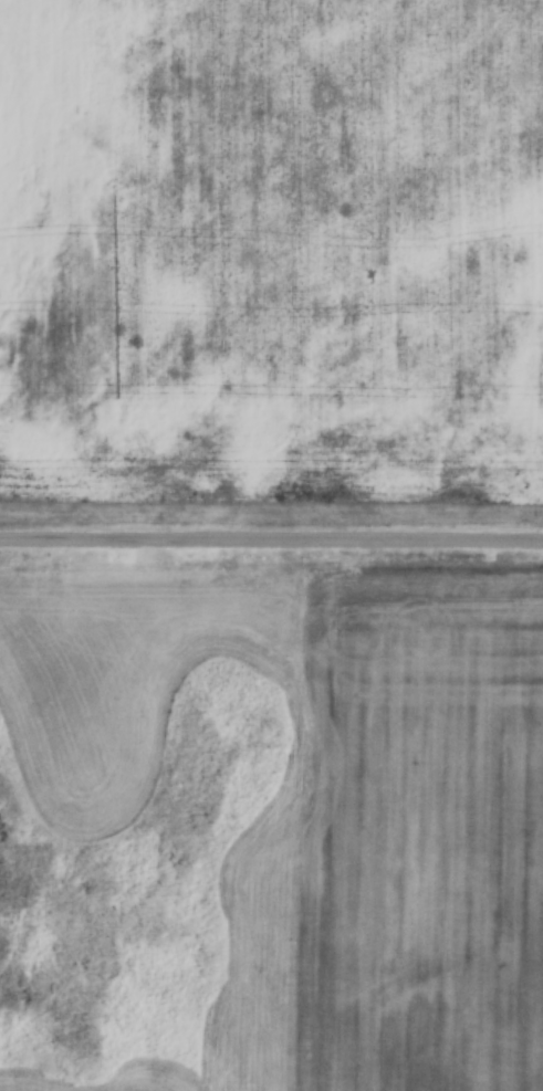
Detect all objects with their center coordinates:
road: (271, 536)

